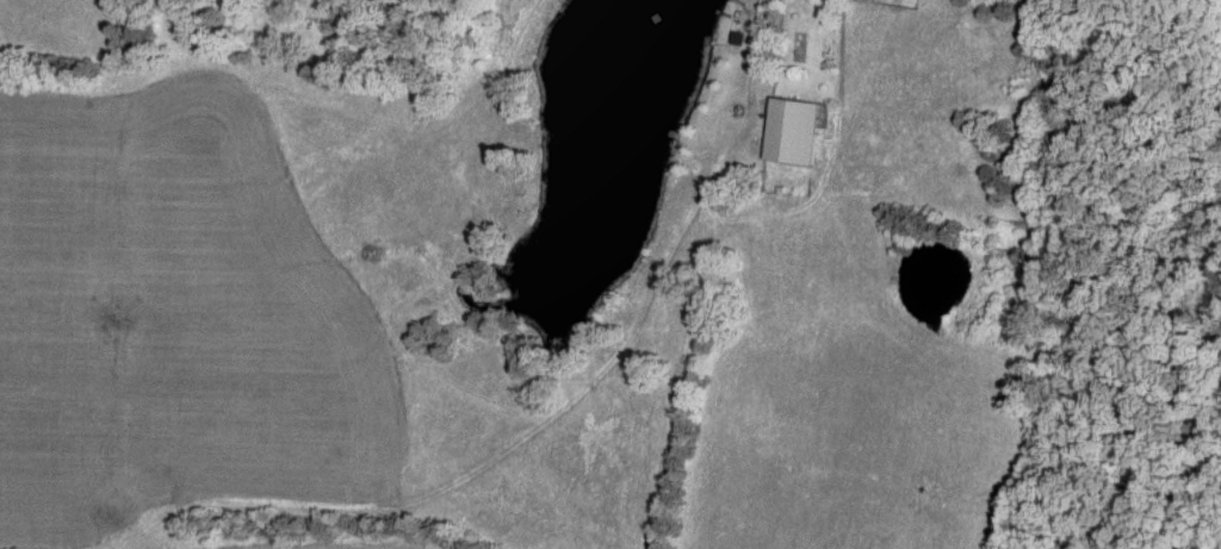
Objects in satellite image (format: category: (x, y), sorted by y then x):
road: (750, 101)
building: (791, 133)

